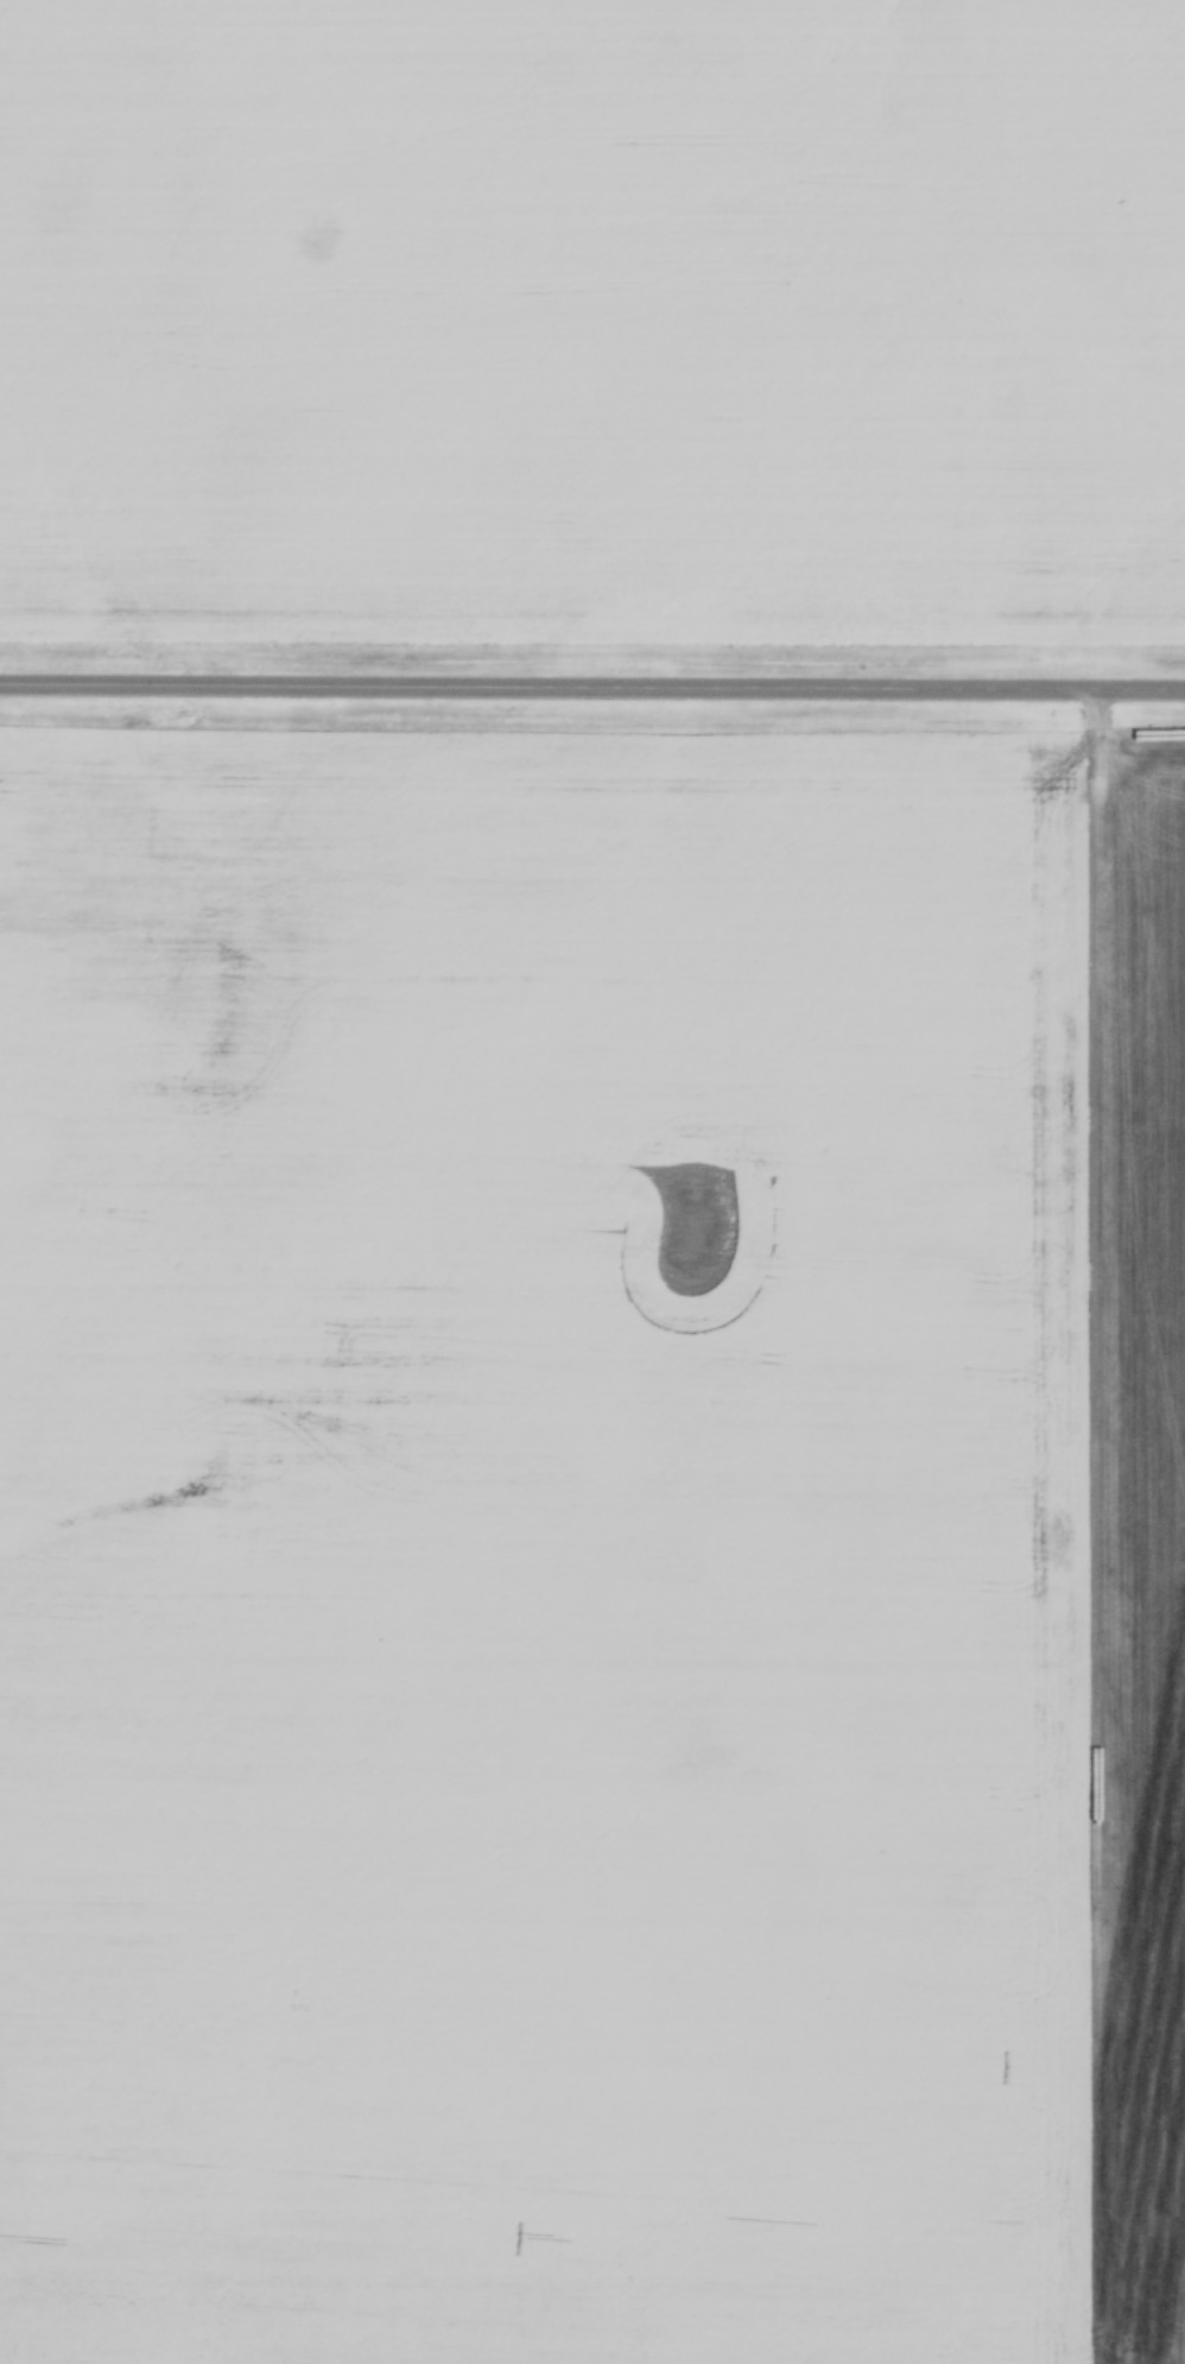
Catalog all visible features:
road: (591, 687)

